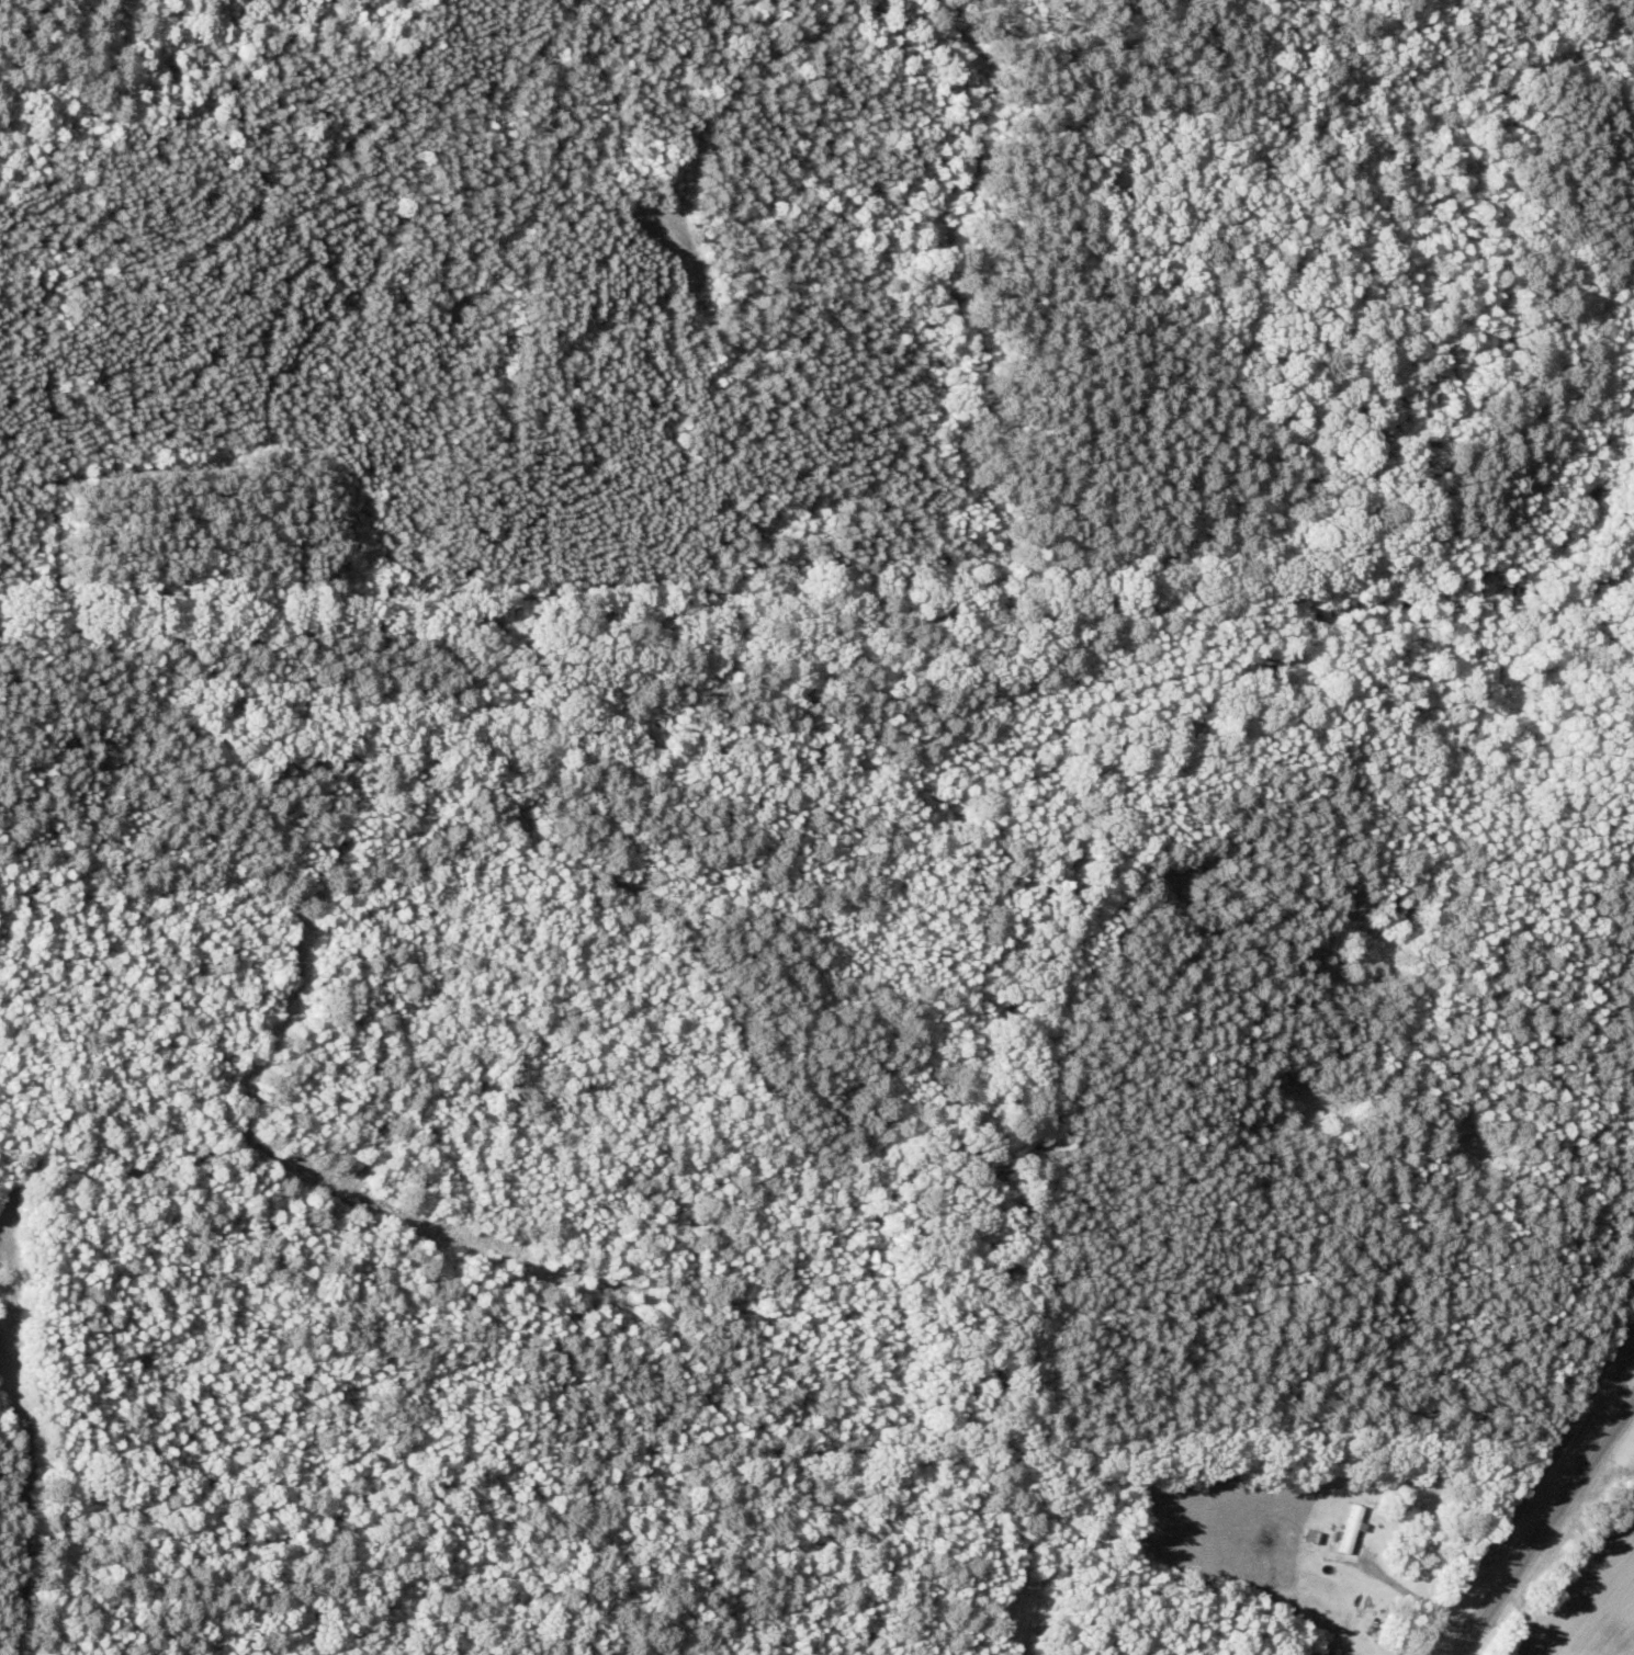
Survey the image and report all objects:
road: (1526, 1499)

